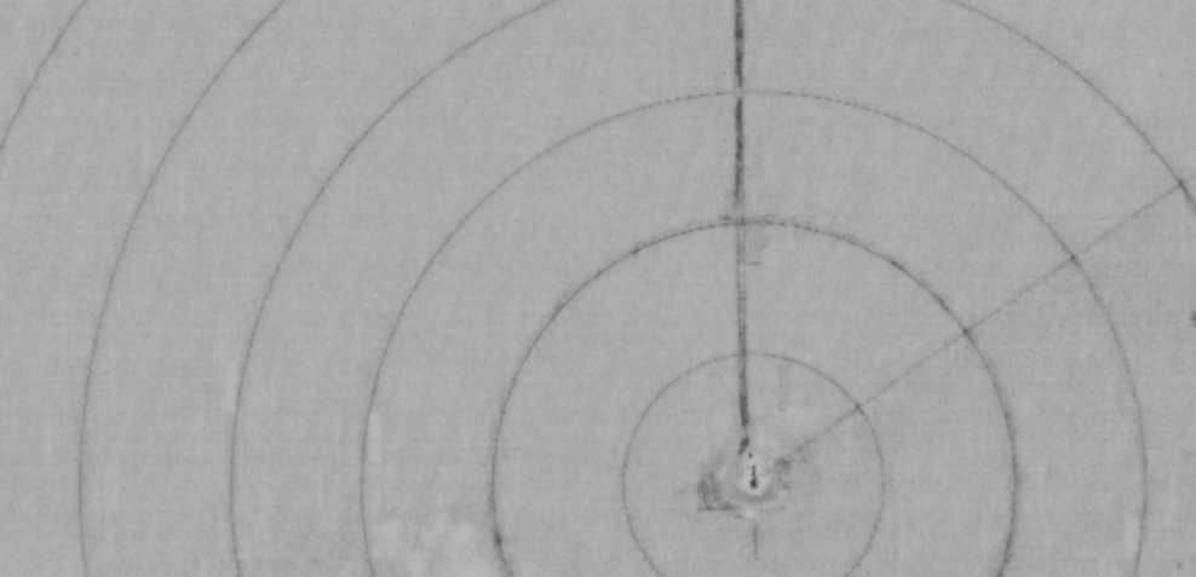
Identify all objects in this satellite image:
crop: (598, 288)

